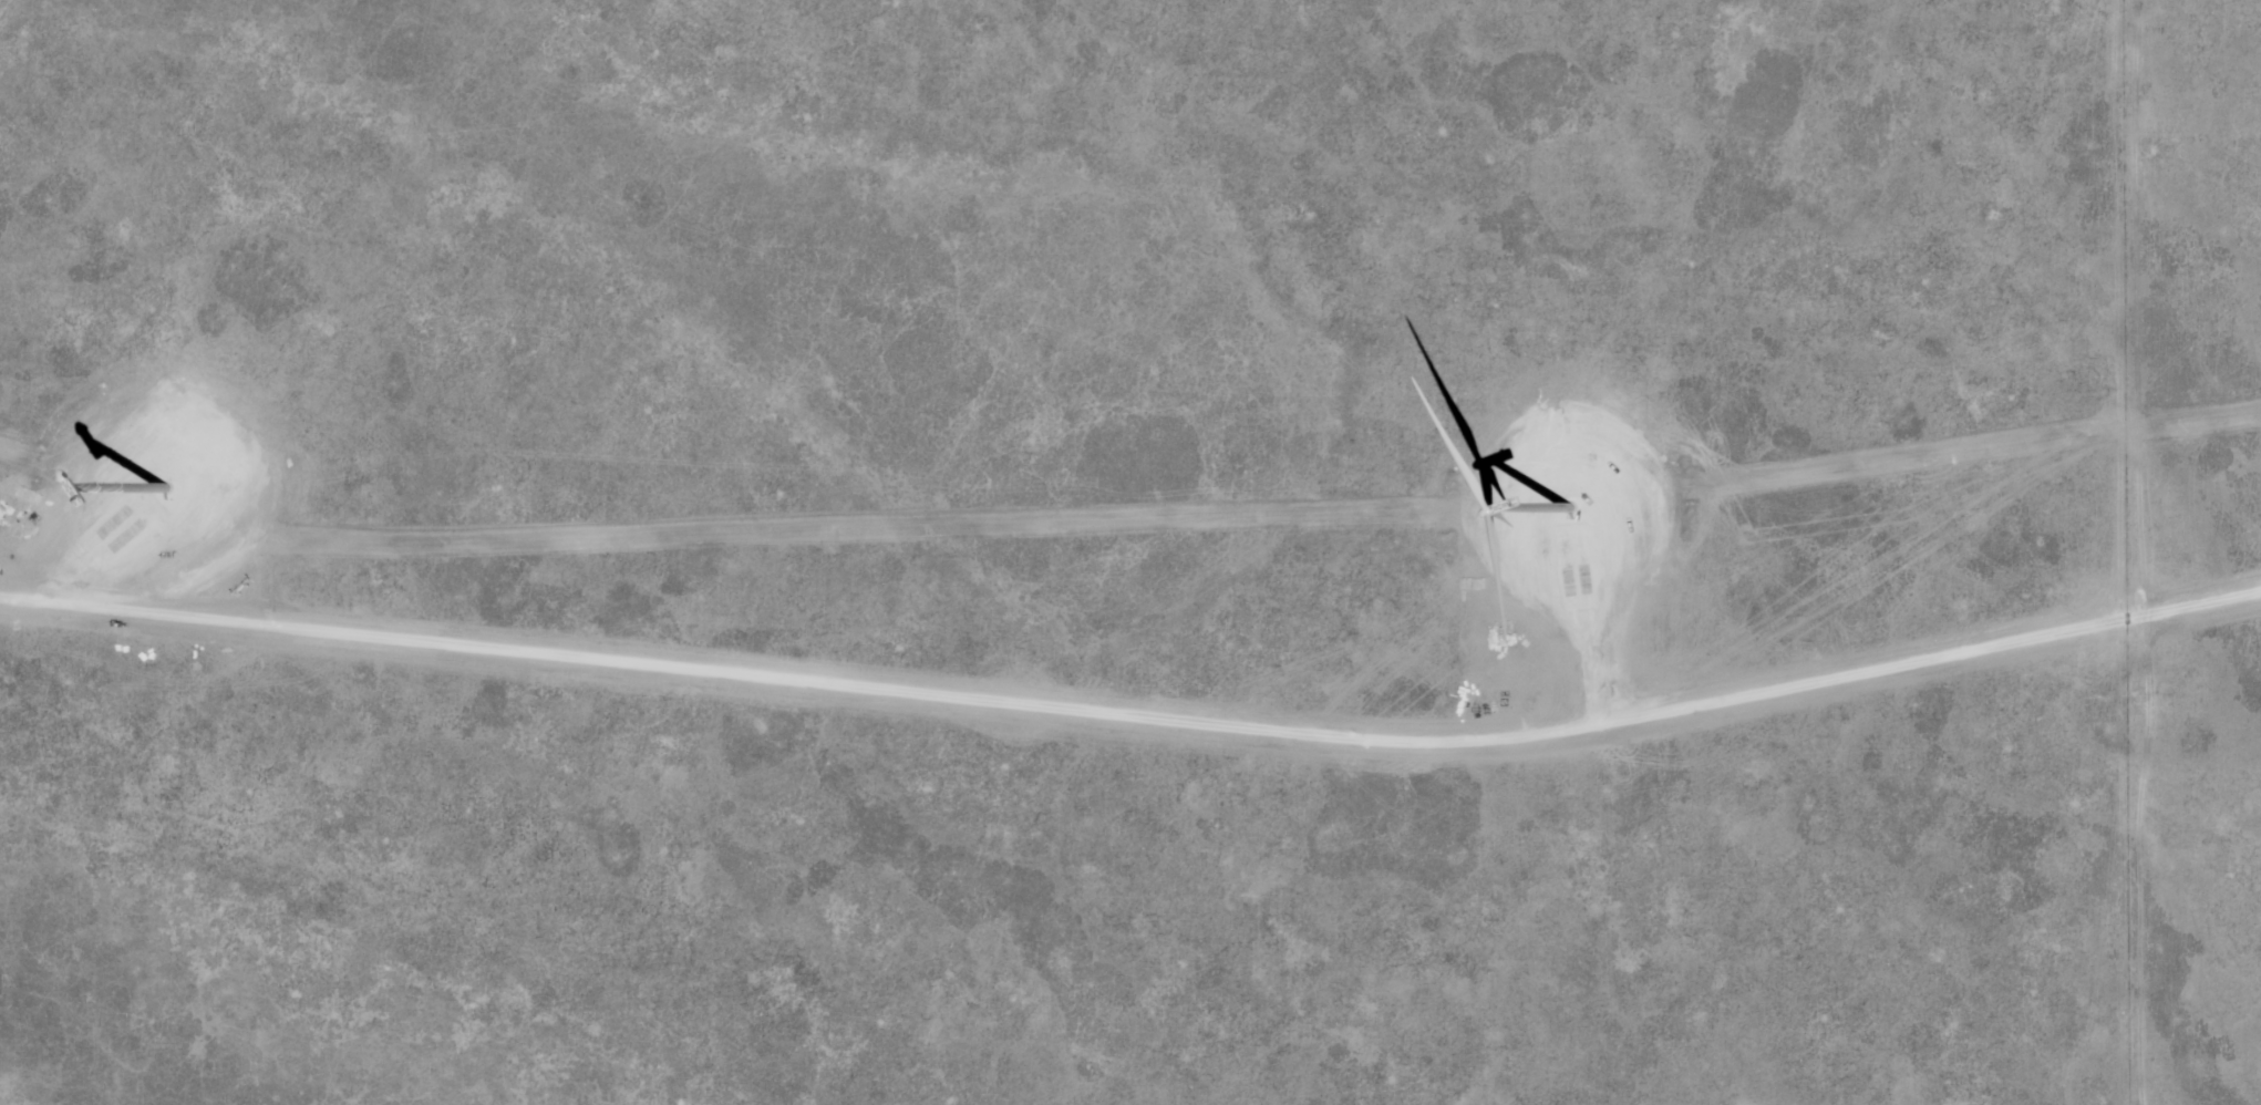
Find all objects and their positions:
wind turbine: (157, 481)
wind turbine: (1570, 512)

